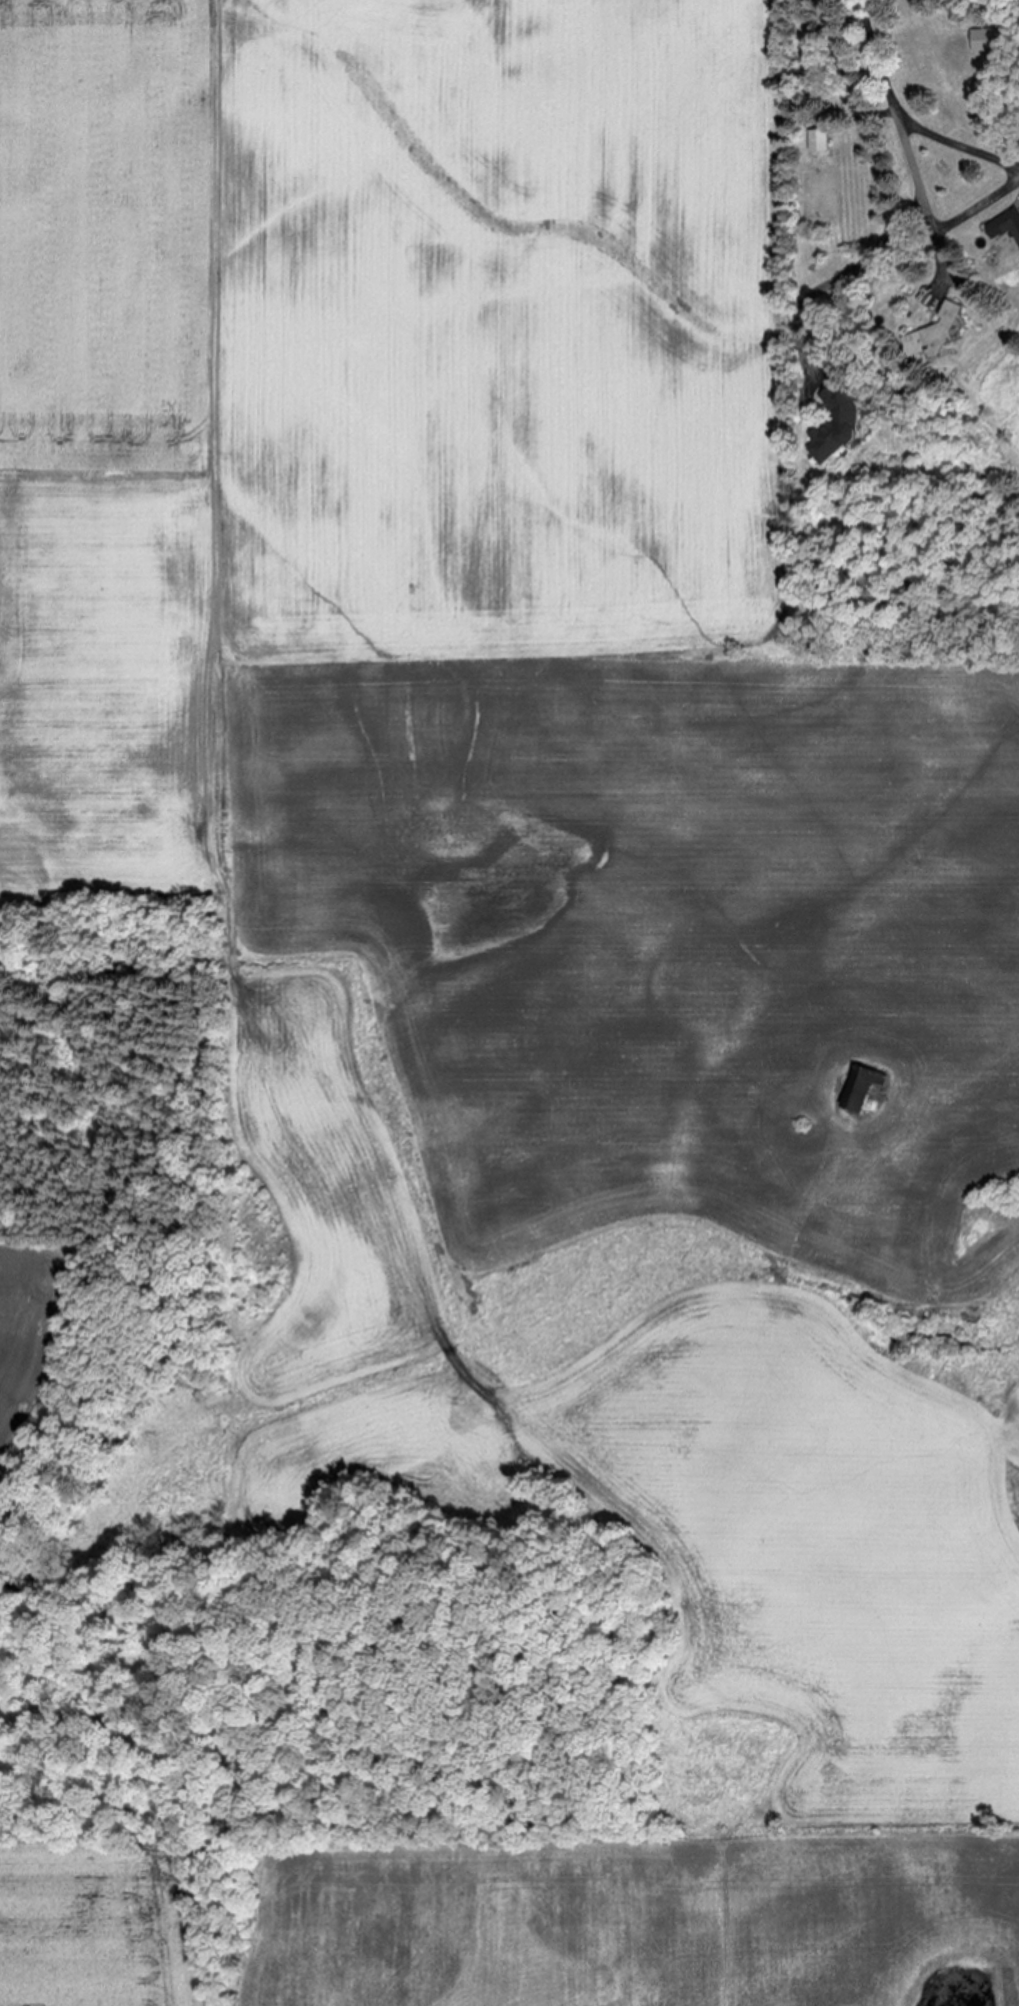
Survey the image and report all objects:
building: (984, 41)
building: (815, 141)
road: (1011, 177)
road: (918, 201)
building: (1003, 227)
building: (933, 335)
building: (834, 426)
building: (859, 1088)

